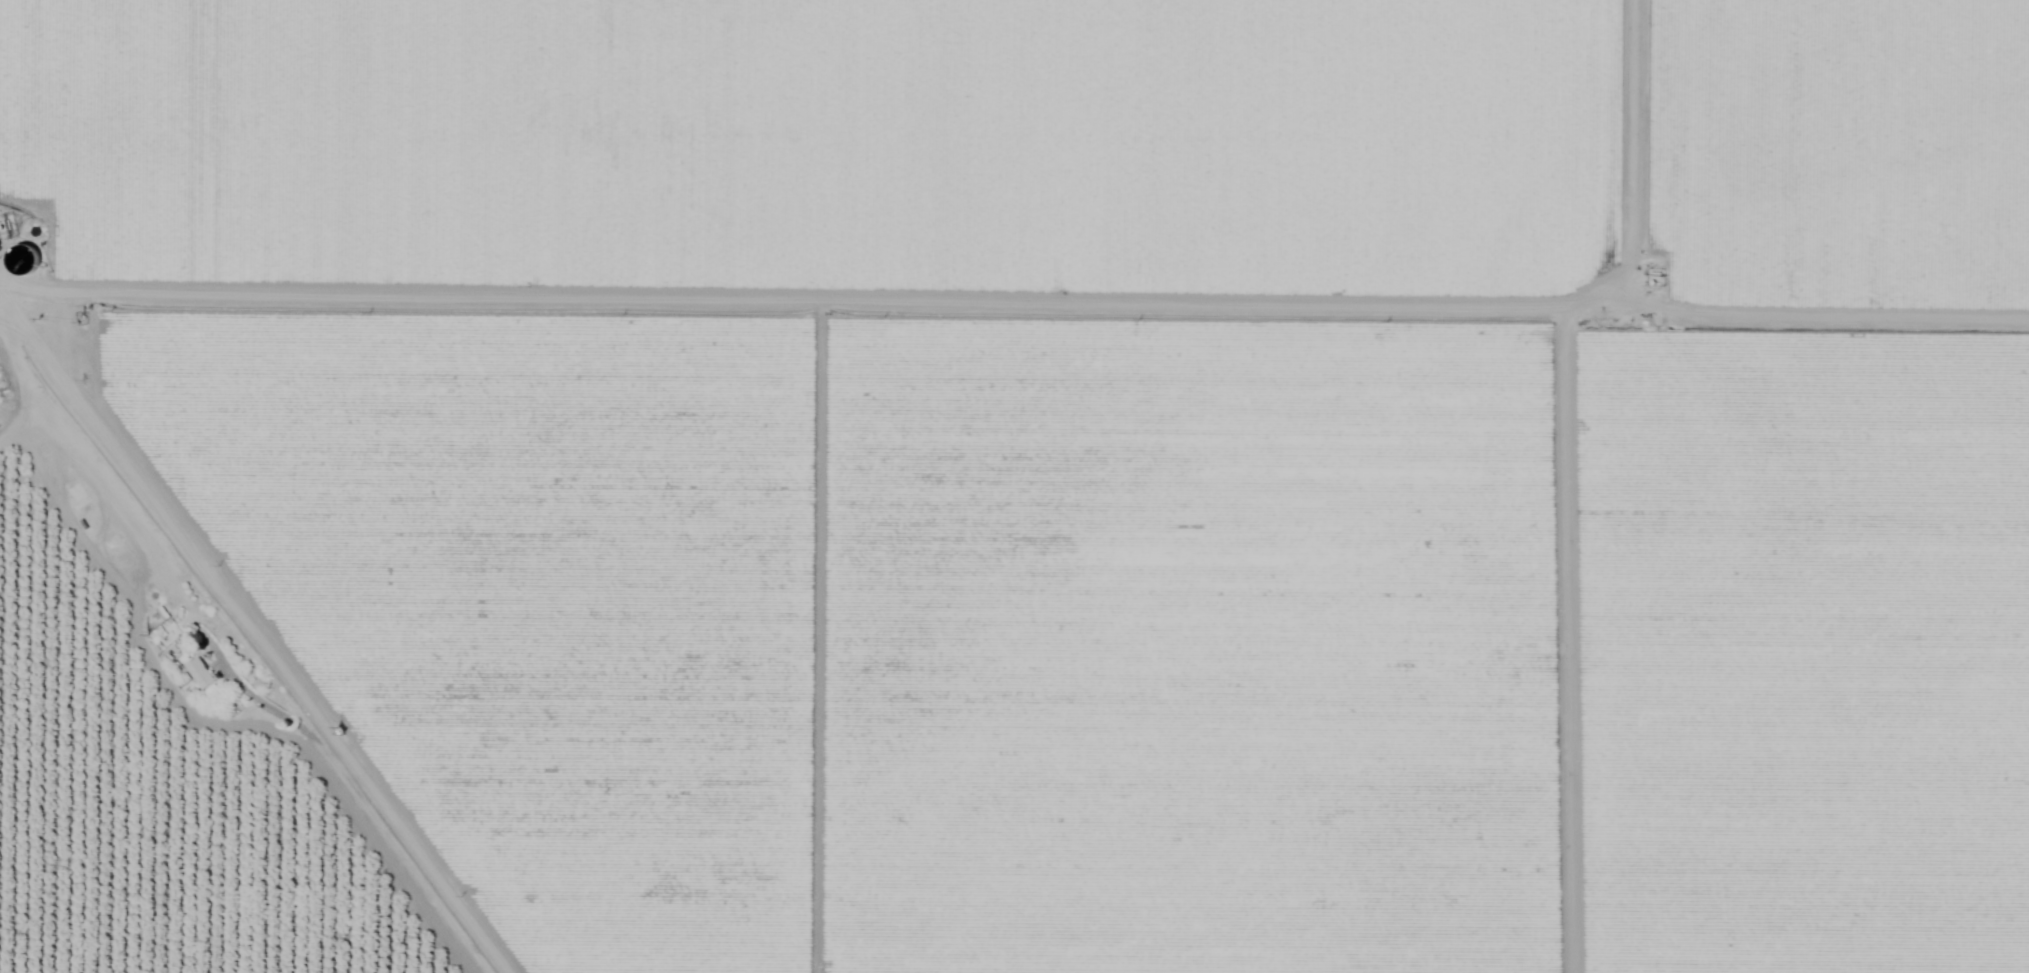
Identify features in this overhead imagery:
crop: (817, 155)
crop: (1827, 159)
road: (1014, 289)
crop: (1160, 627)
road: (209, 673)

